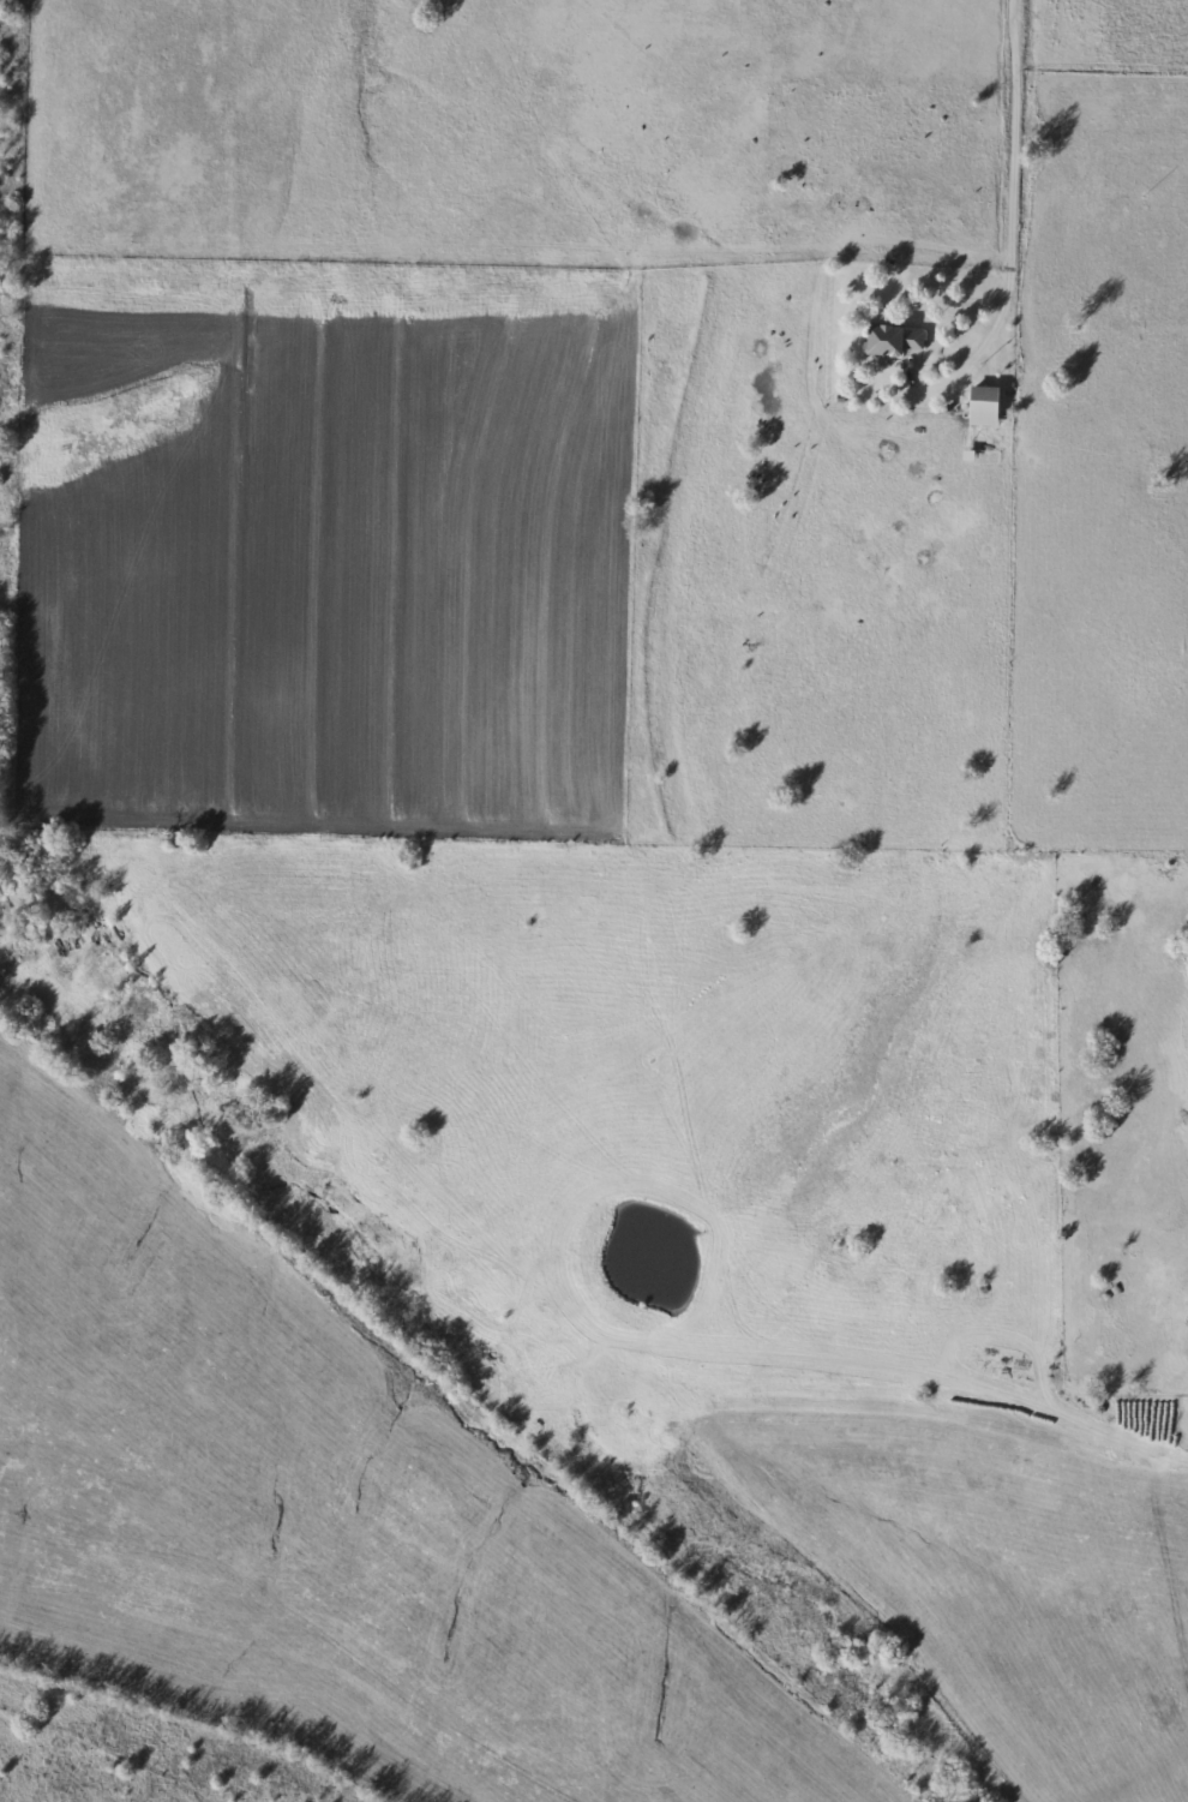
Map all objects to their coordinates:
road: (1006, 226)
building: (895, 345)
building: (985, 407)

